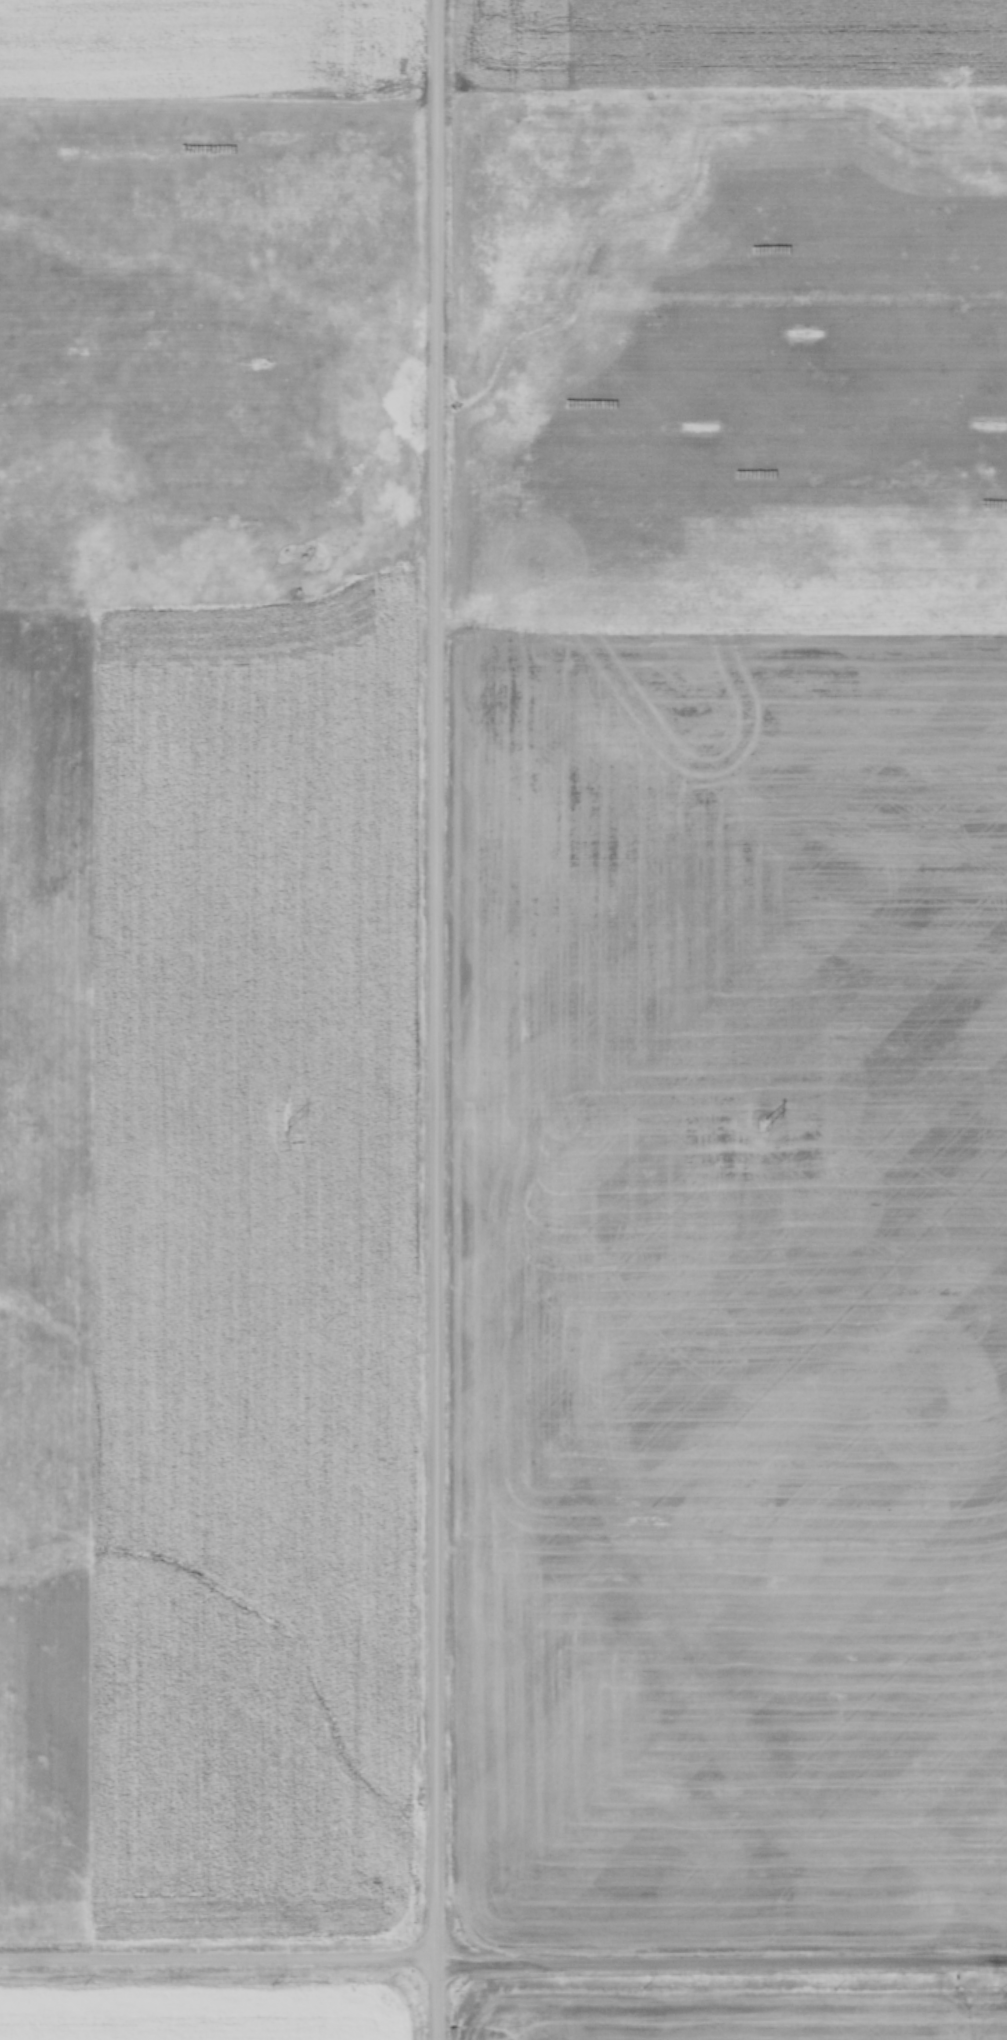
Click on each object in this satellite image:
building: (700, 430)
road: (439, 1019)
power tower: (286, 1125)
power tower: (762, 1125)
road: (503, 1958)

